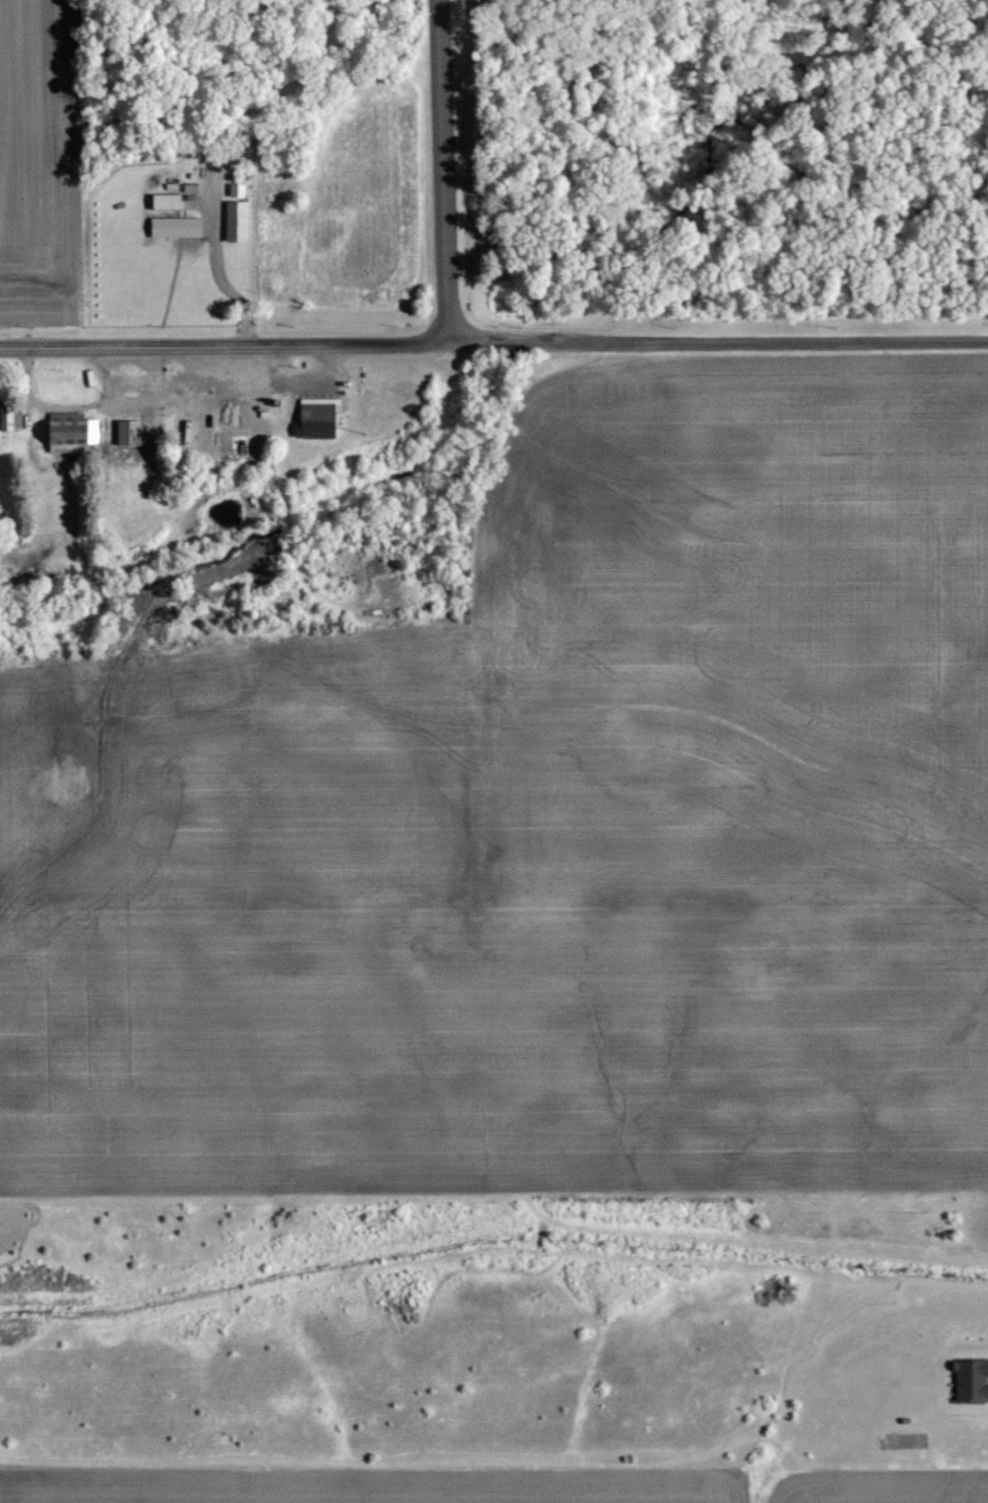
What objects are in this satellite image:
road: (443, 171)
building: (232, 188)
building: (162, 200)
building: (231, 219)
building: (171, 225)
road: (213, 265)
road: (718, 341)
road: (224, 344)
road: (270, 361)
road: (207, 363)
road: (278, 377)
road: (106, 379)
parking lot: (323, 381)
road: (245, 401)
road: (91, 405)
building: (316, 416)
building: (7, 417)
road: (206, 422)
building: (124, 431)
building: (70, 433)
building: (971, 1380)

